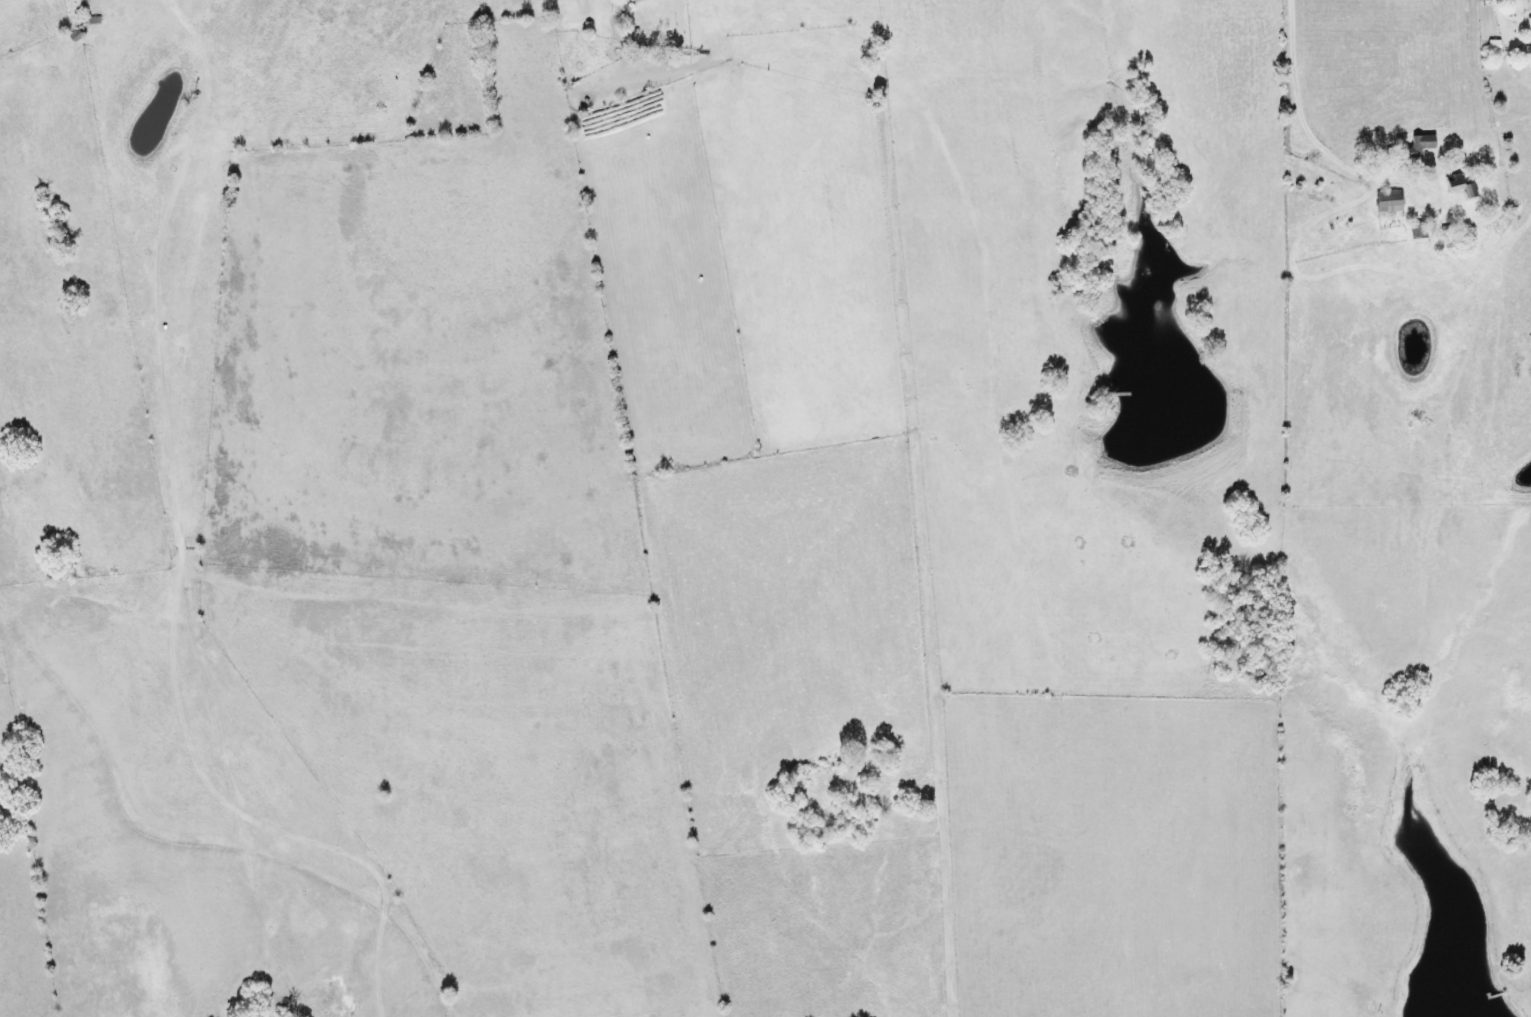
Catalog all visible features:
building: (1508, 7)
road: (1325, 140)
building: (1414, 147)
building: (1448, 181)
building: (1386, 200)

